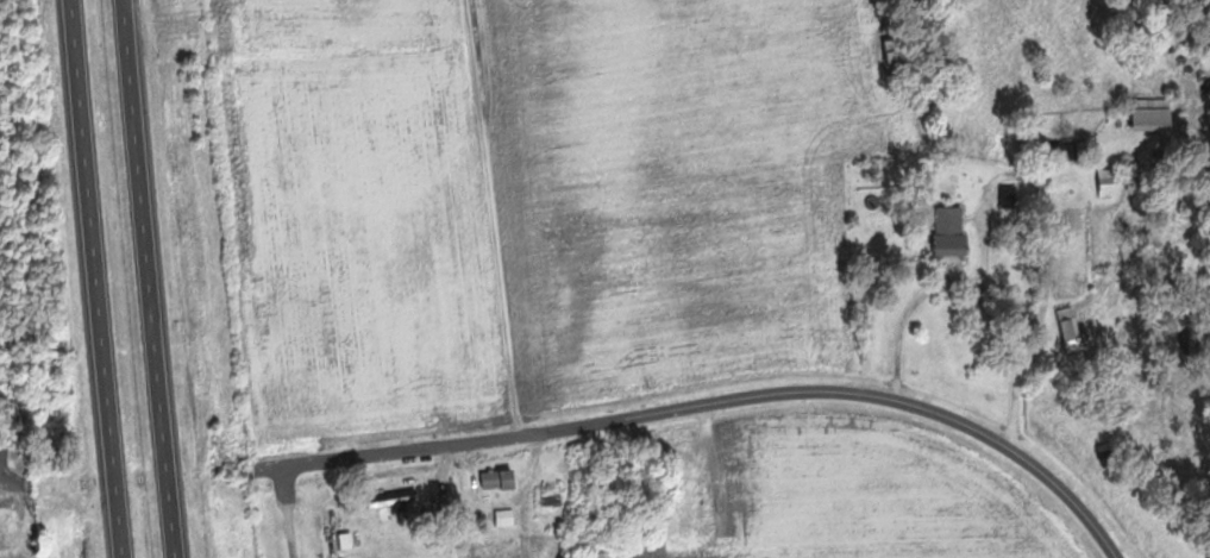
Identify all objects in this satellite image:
building: (1159, 115)
building: (1111, 182)
road: (1042, 192)
building: (957, 233)
road: (105, 278)
road: (155, 278)
road: (908, 312)
building: (1076, 328)
road: (723, 402)
road: (6, 479)
building: (502, 479)
road: (289, 512)
building: (508, 518)

